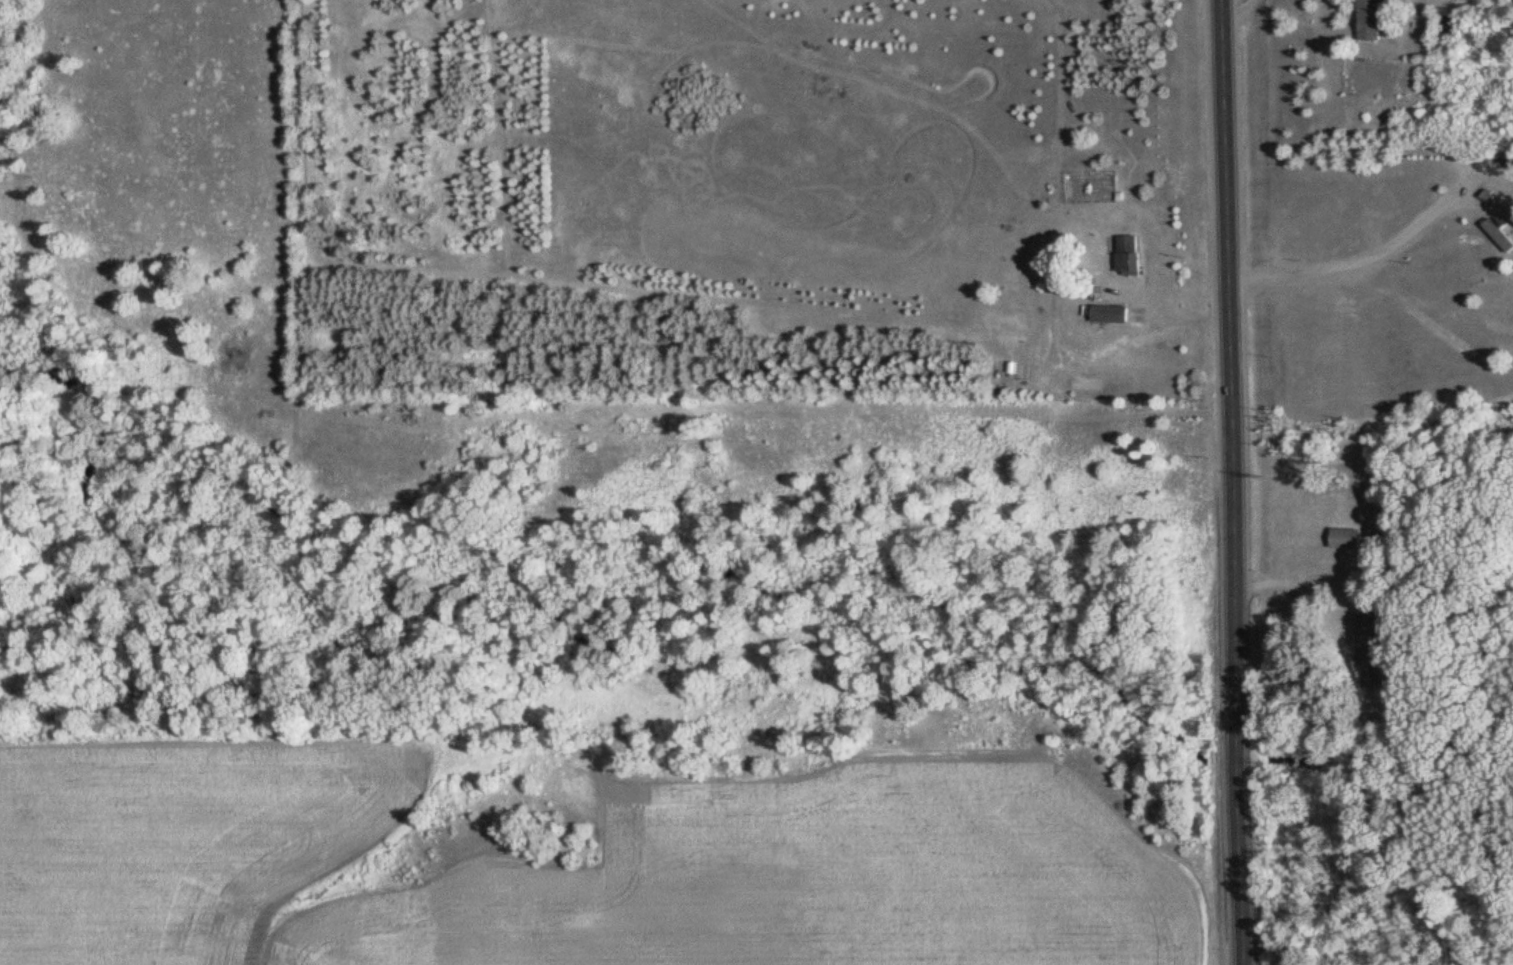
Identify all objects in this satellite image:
road: (1235, 14)
building: (1373, 18)
road: (1482, 173)
road: (1484, 204)
building: (1498, 235)
building: (1129, 254)
road: (1350, 267)
building: (1110, 313)
road: (1234, 482)
building: (1346, 538)
building: (1371, 650)

